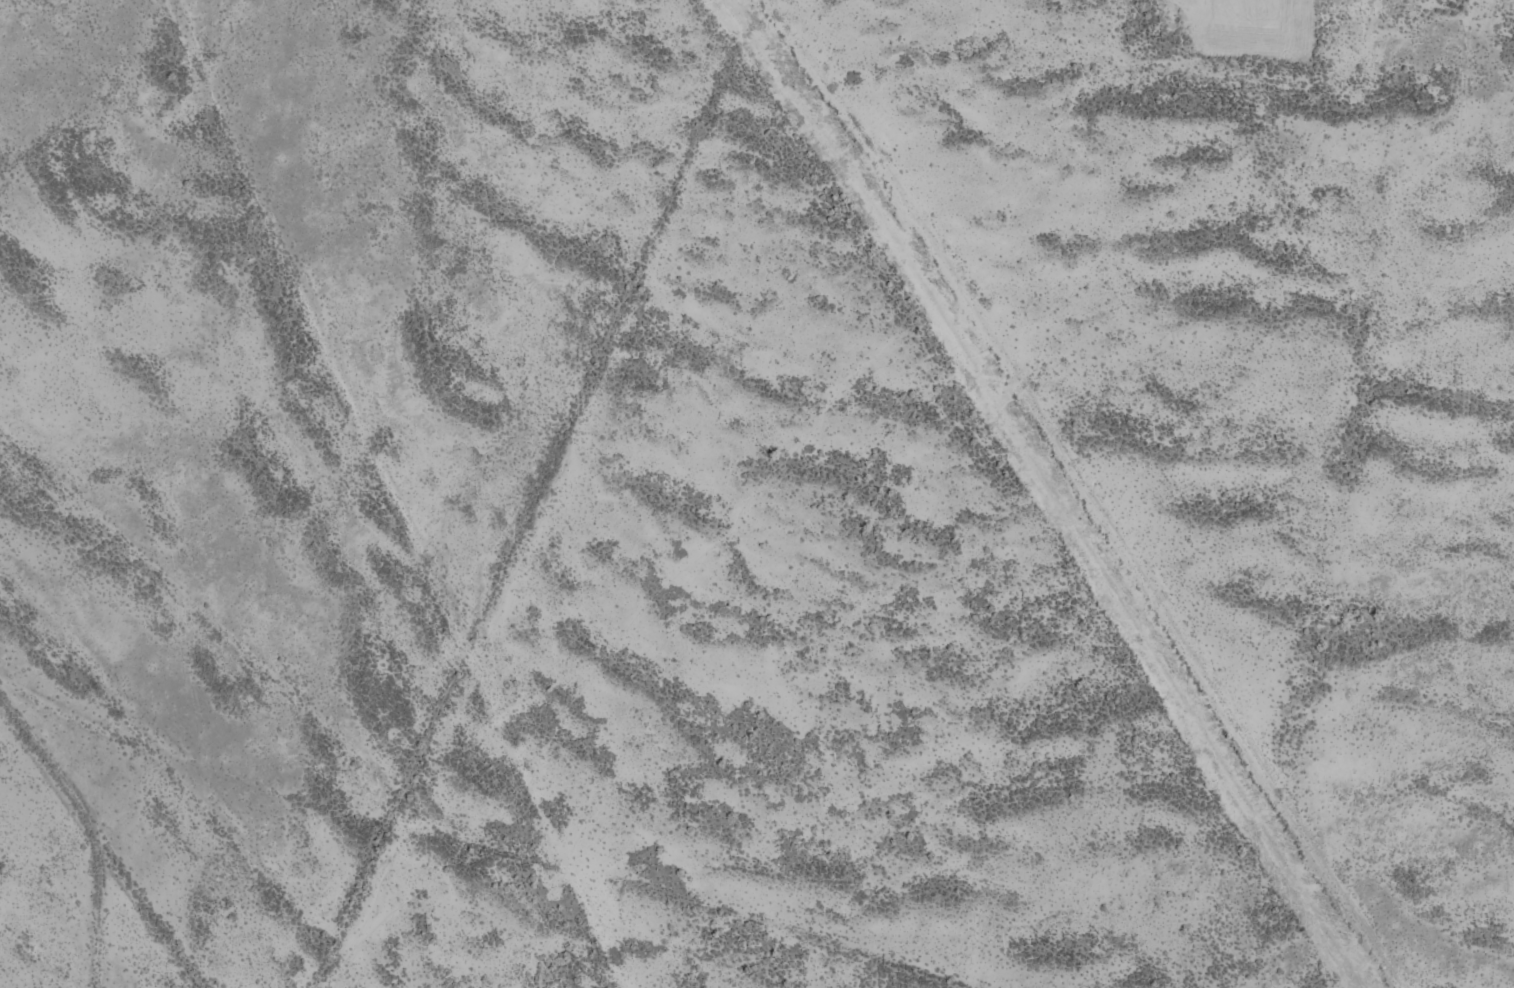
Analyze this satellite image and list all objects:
road: (82, 828)

